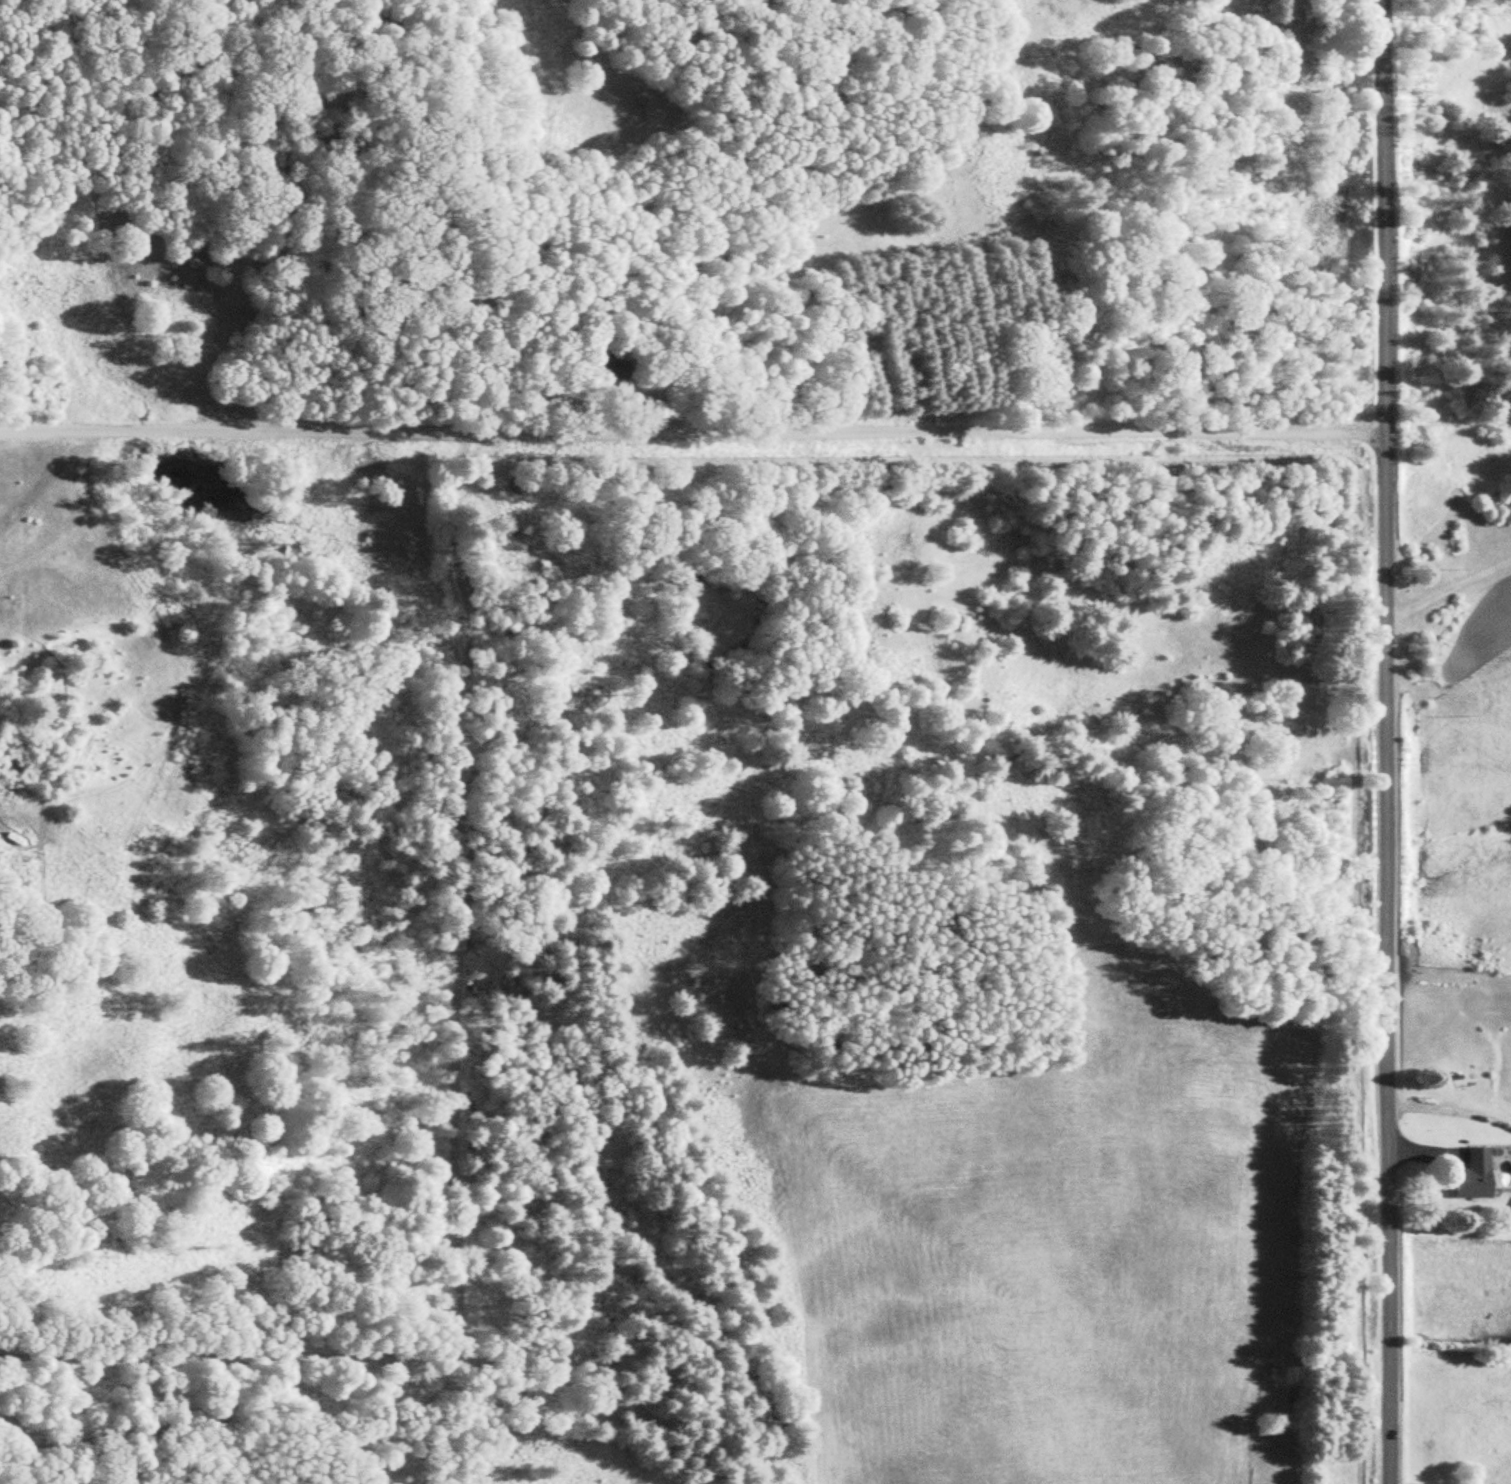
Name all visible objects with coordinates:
road: (695, 434)
road: (1392, 741)
building: (1470, 1174)
road: (204, 1428)

